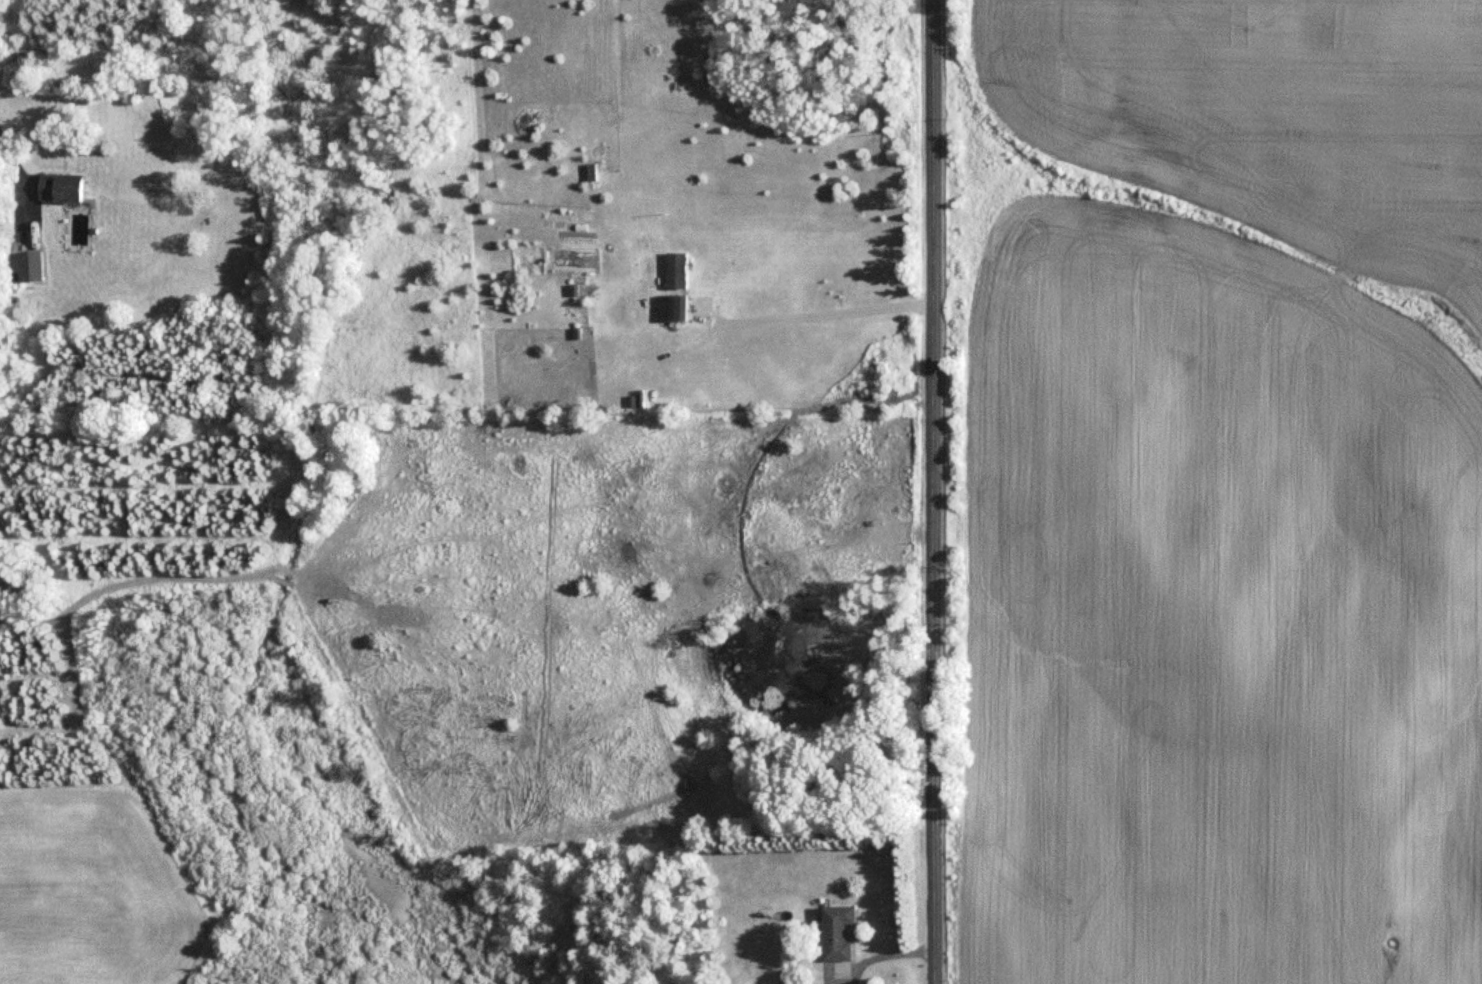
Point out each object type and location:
building: (59, 187)
building: (31, 266)
building: (675, 270)
building: (674, 307)
road: (931, 492)
building: (836, 932)

